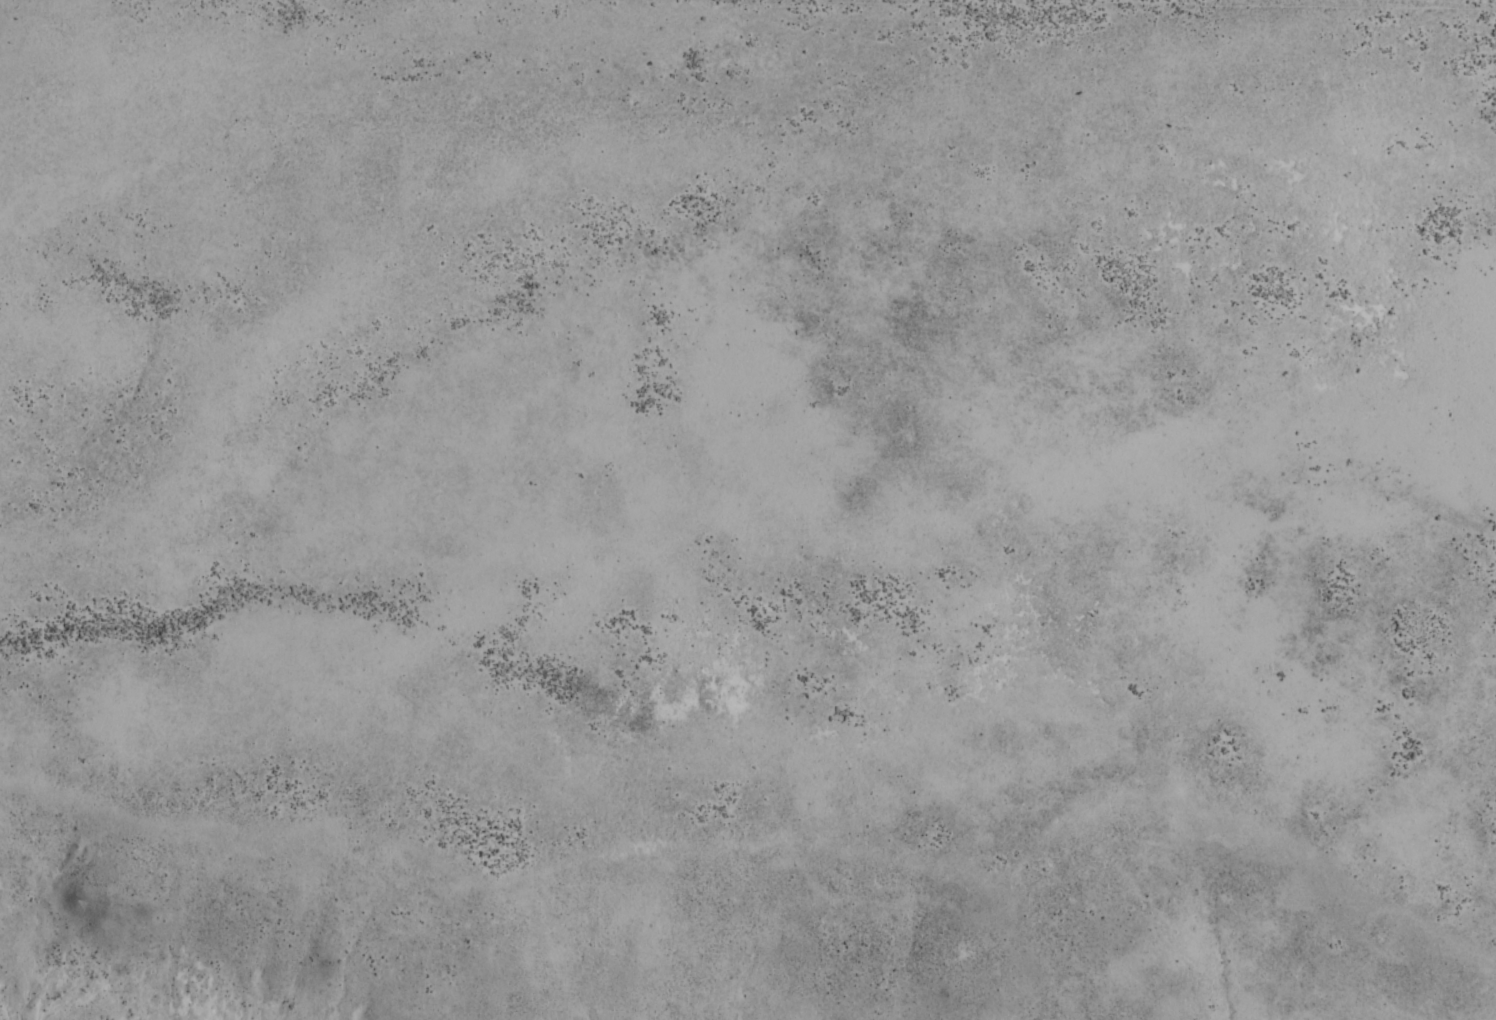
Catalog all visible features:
road: (1412, 5)

